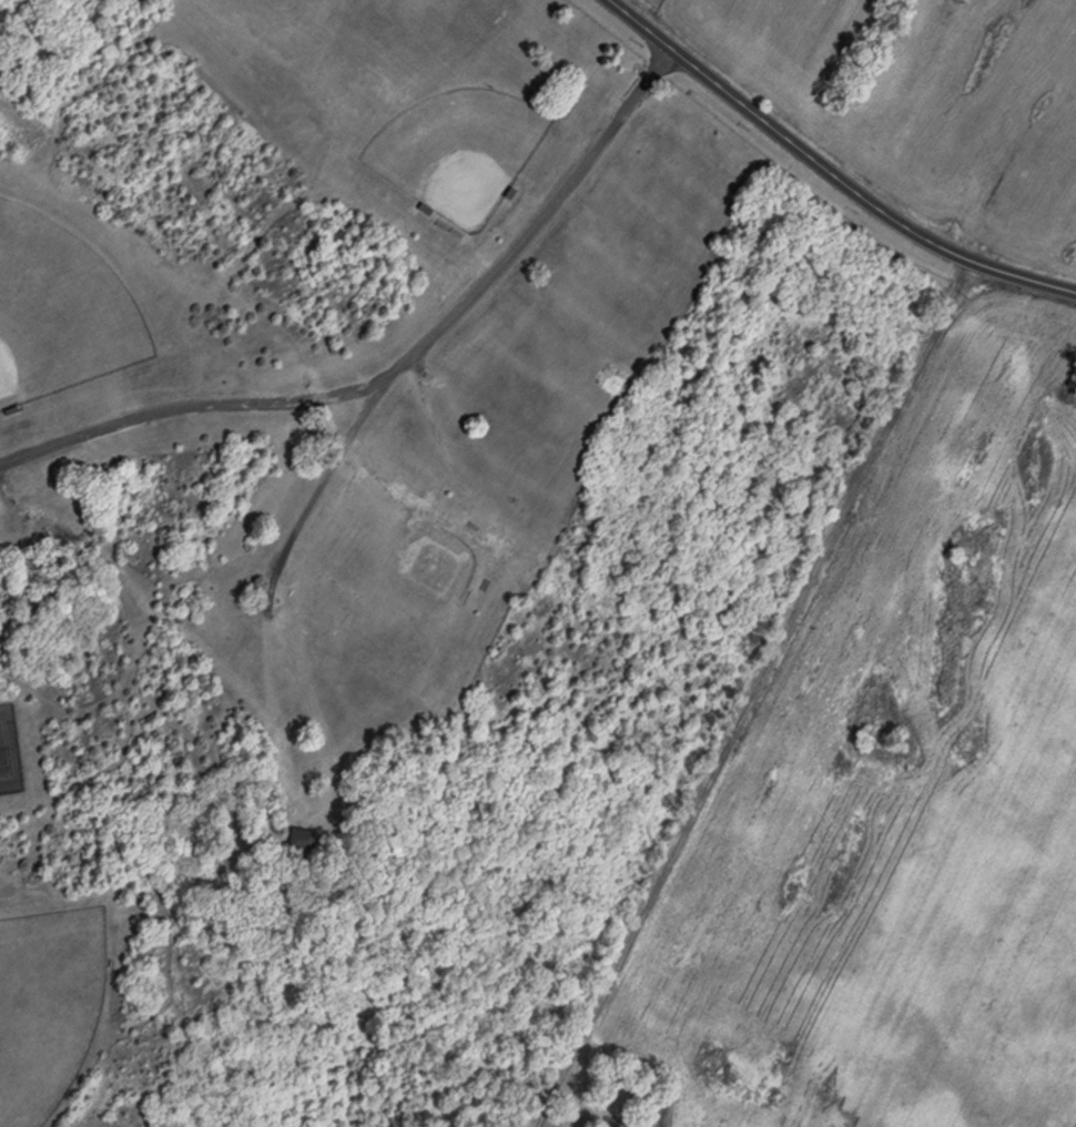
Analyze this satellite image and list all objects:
park: (278, 54)
park: (456, 152)
road: (833, 163)
road: (464, 302)
park: (58, 311)
road: (323, 394)
road: (130, 419)
park: (384, 527)
park: (441, 567)
road: (270, 586)
road: (743, 691)
park: (8, 755)
park: (47, 1007)

